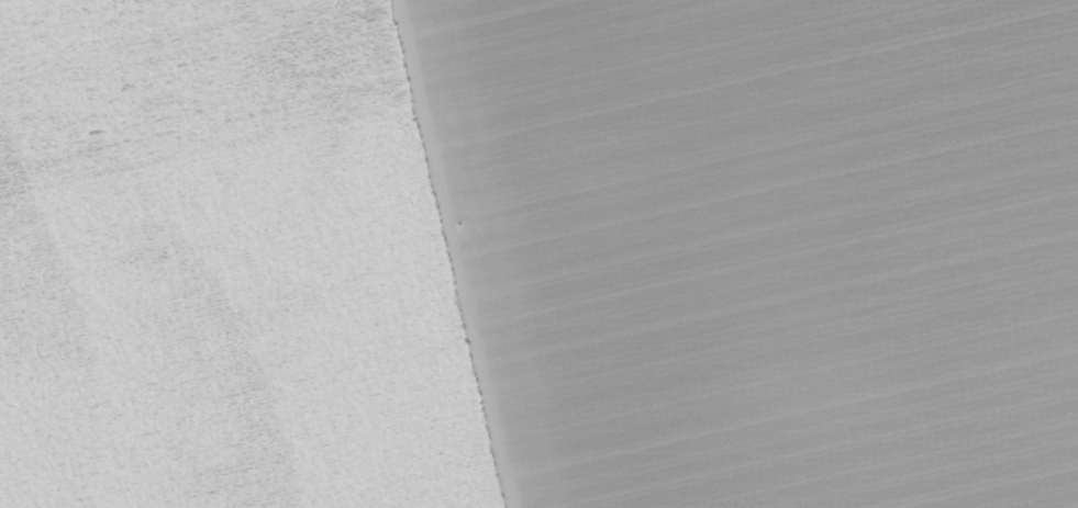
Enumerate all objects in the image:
road: (449, 253)

